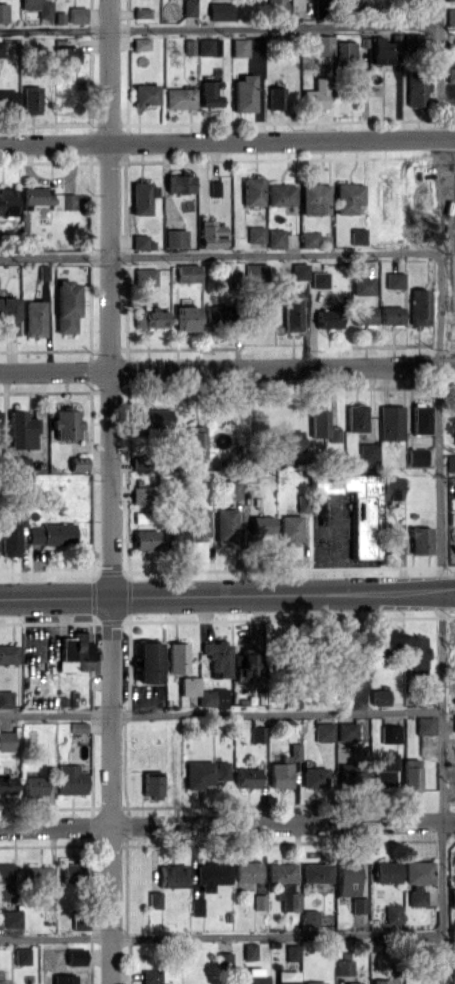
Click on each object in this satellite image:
building: (29, 4)
building: (189, 7)
building: (44, 8)
building: (219, 11)
building: (3, 12)
building: (141, 12)
building: (77, 14)
building: (450, 16)
road: (220, 27)
building: (410, 41)
building: (141, 43)
building: (323, 44)
building: (208, 46)
building: (239, 47)
building: (383, 47)
building: (1, 48)
building: (344, 49)
building: (66, 55)
road: (440, 68)
building: (450, 74)
building: (417, 90)
building: (208, 92)
building: (243, 93)
building: (146, 94)
building: (315, 95)
building: (179, 97)
building: (276, 97)
building: (8, 99)
building: (31, 99)
road: (227, 140)
building: (179, 183)
building: (215, 188)
building: (252, 190)
building: (280, 194)
building: (36, 195)
building: (142, 197)
building: (314, 197)
building: (347, 197)
building: (7, 201)
building: (68, 201)
building: (255, 233)
building: (210, 234)
building: (358, 235)
building: (174, 238)
building: (275, 238)
building: (309, 239)
building: (141, 241)
road: (212, 255)
building: (255, 271)
building: (299, 271)
building: (187, 272)
building: (145, 276)
building: (320, 279)
building: (395, 279)
building: (364, 285)
building: (67, 305)
building: (419, 306)
building: (292, 314)
building: (391, 314)
building: (9, 315)
building: (214, 315)
building: (364, 315)
building: (150, 317)
building: (187, 317)
building: (35, 318)
building: (329, 318)
road: (227, 367)
building: (154, 417)
building: (356, 417)
building: (420, 418)
building: (391, 422)
building: (66, 424)
building: (322, 424)
building: (21, 429)
building: (290, 440)
building: (196, 441)
building: (368, 451)
building: (416, 456)
building: (450, 462)
building: (78, 463)
building: (18, 465)
building: (233, 486)
building: (390, 487)
road: (110, 492)
building: (140, 494)
building: (302, 502)
building: (357, 508)
building: (198, 524)
building: (261, 524)
building: (225, 525)
building: (289, 528)
building: (50, 533)
building: (173, 537)
building: (9, 538)
building: (145, 539)
building: (420, 539)
road: (227, 595)
road: (440, 613)
building: (389, 640)
building: (75, 651)
building: (8, 653)
building: (416, 654)
building: (176, 657)
building: (218, 657)
building: (147, 662)
building: (245, 664)
building: (202, 692)
building: (380, 696)
building: (5, 698)
road: (221, 713)
building: (454, 721)
building: (425, 725)
building: (78, 726)
building: (324, 731)
building: (346, 731)
building: (257, 733)
building: (390, 733)
building: (6, 740)
building: (294, 751)
building: (384, 768)
building: (204, 773)
building: (350, 773)
building: (280, 774)
building: (410, 774)
building: (247, 777)
building: (313, 777)
building: (71, 779)
building: (6, 784)
building: (152, 784)
building: (34, 785)
road: (227, 822)
building: (386, 871)
building: (316, 872)
building: (71, 873)
building: (211, 874)
building: (247, 874)
building: (172, 875)
building: (37, 876)
building: (348, 878)
building: (417, 879)
building: (5, 881)
building: (285, 883)
building: (452, 897)
building: (154, 899)
building: (359, 904)
building: (196, 906)
building: (393, 914)
building: (310, 917)
building: (10, 918)
building: (80, 924)
road: (221, 935)
building: (249, 951)
building: (292, 952)
building: (21, 955)
building: (75, 956)
building: (344, 966)
building: (255, 975)
building: (150, 976)
building: (287, 977)
building: (63, 979)
building: (380, 981)
building: (5, 982)
building: (313, 982)
building: (353, 982)

